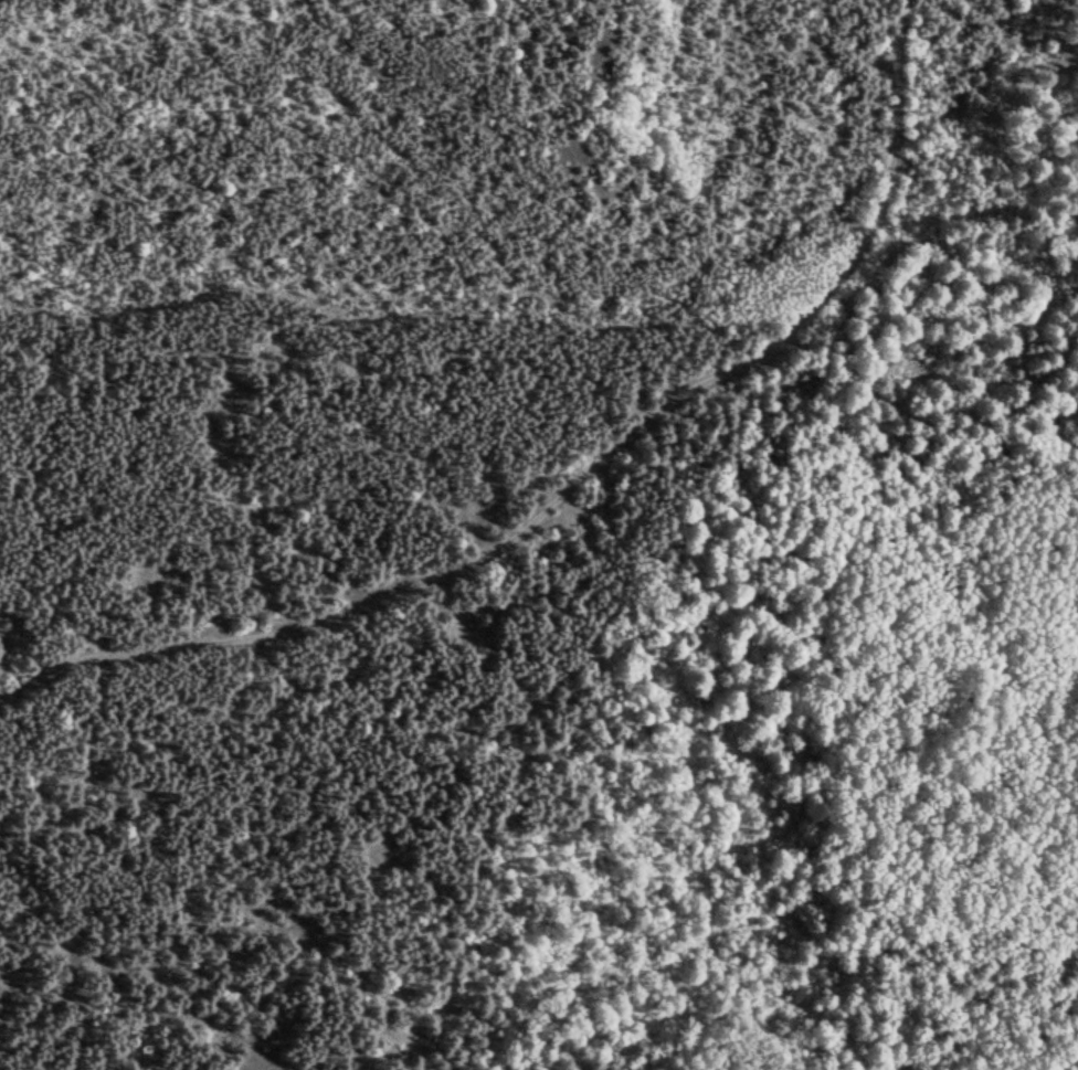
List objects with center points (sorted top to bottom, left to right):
road: (575, 481)

